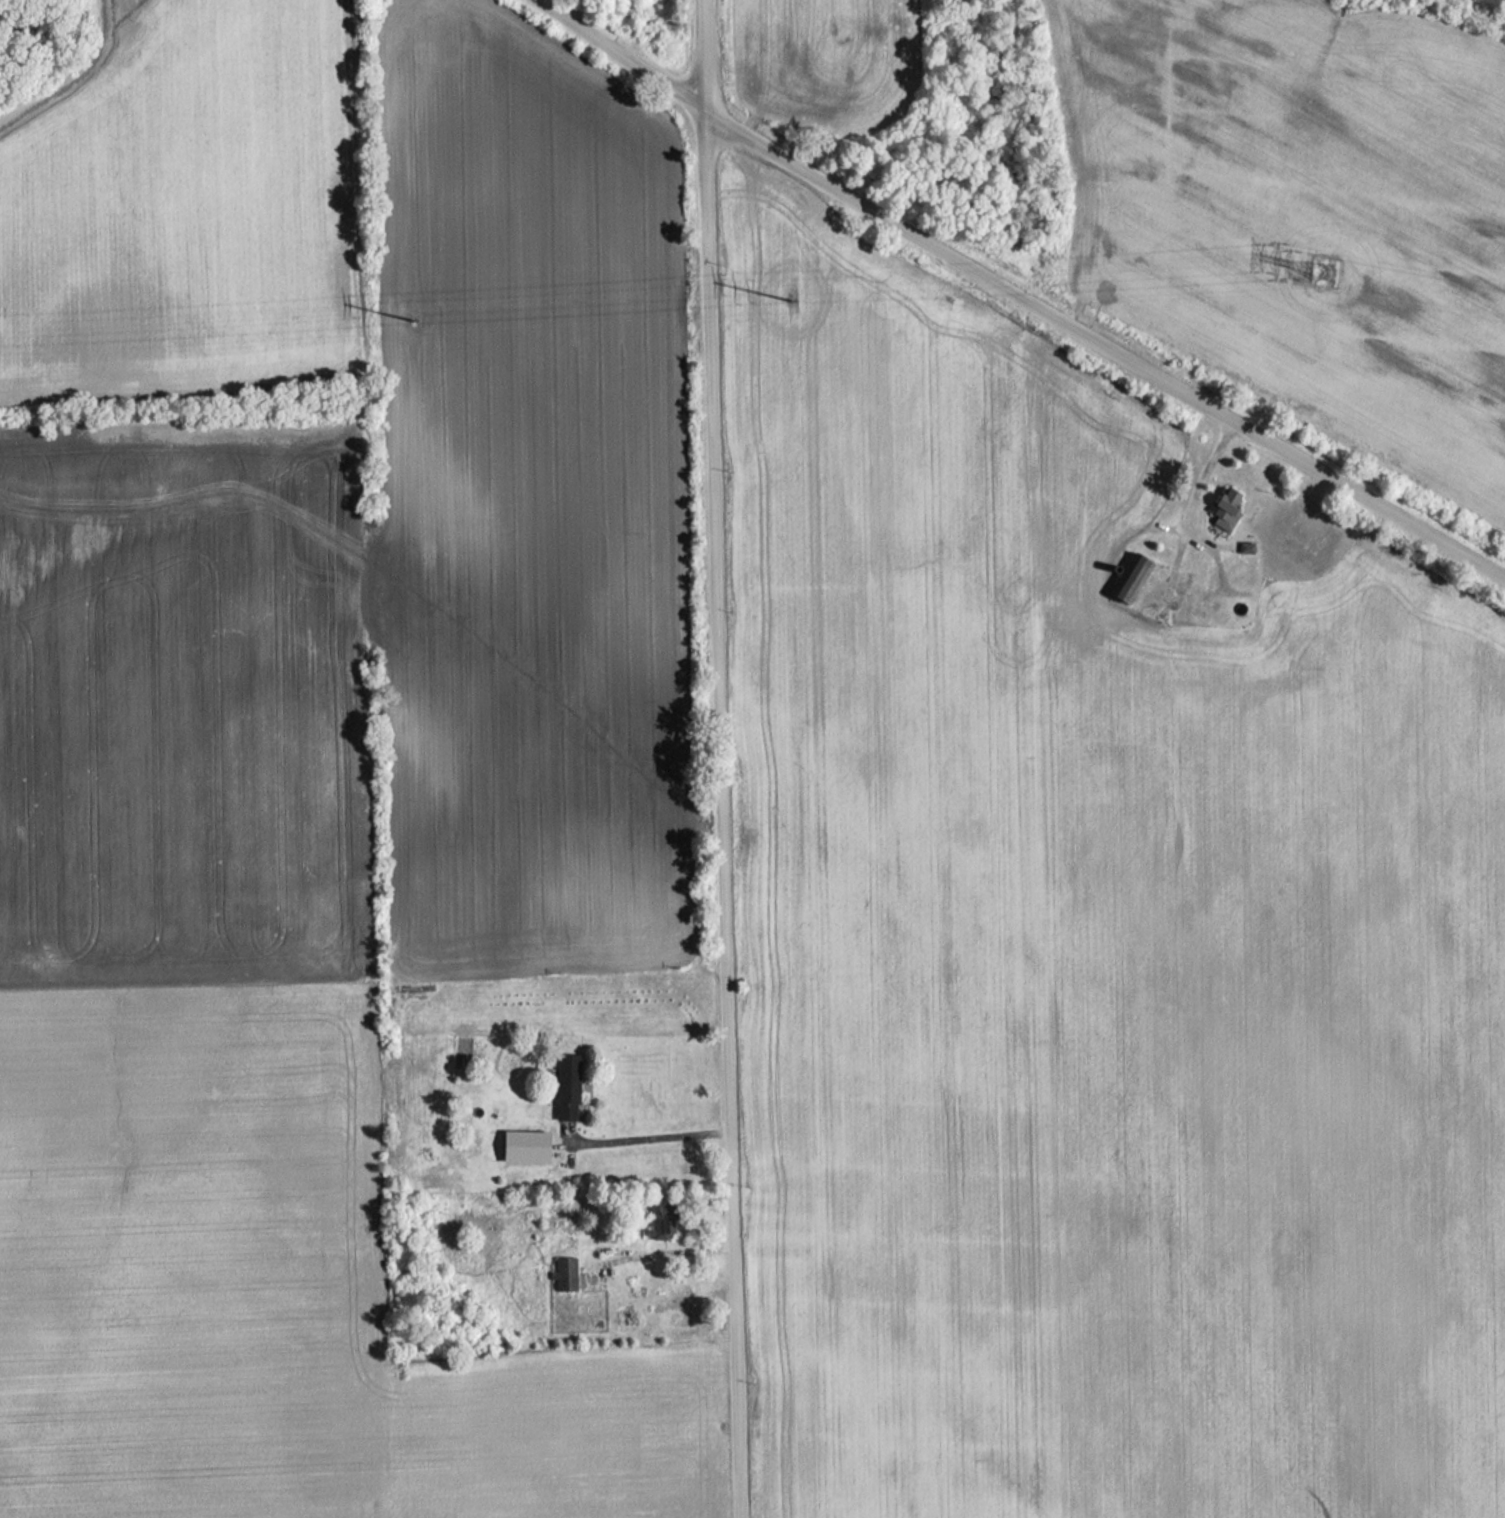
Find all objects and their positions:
power tower: (1324, 268)
road: (1019, 296)
power tower: (787, 299)
power tower: (414, 321)
road: (1205, 470)
building: (1225, 510)
building: (1132, 577)
road: (722, 759)
building: (568, 1086)
road: (654, 1138)
building: (527, 1145)
building: (664, 1221)
road: (675, 1245)
building: (566, 1273)

